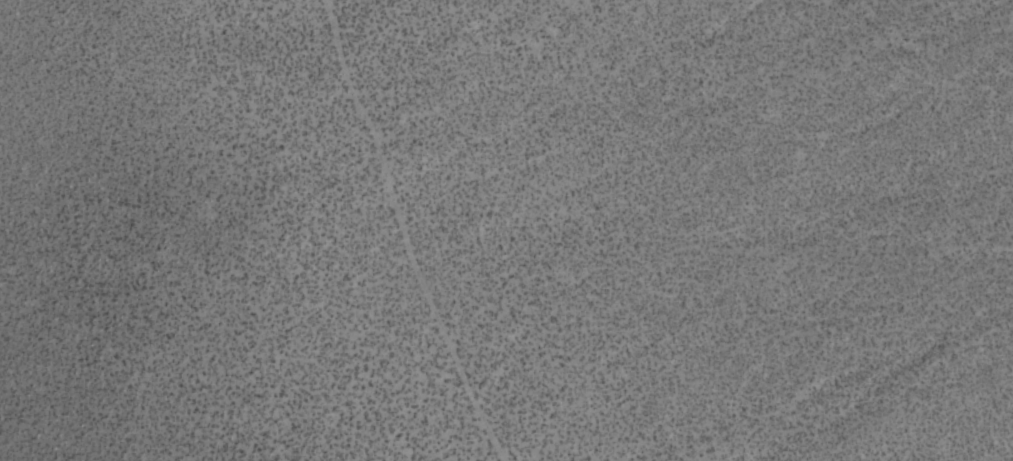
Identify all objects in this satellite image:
road: (408, 234)

